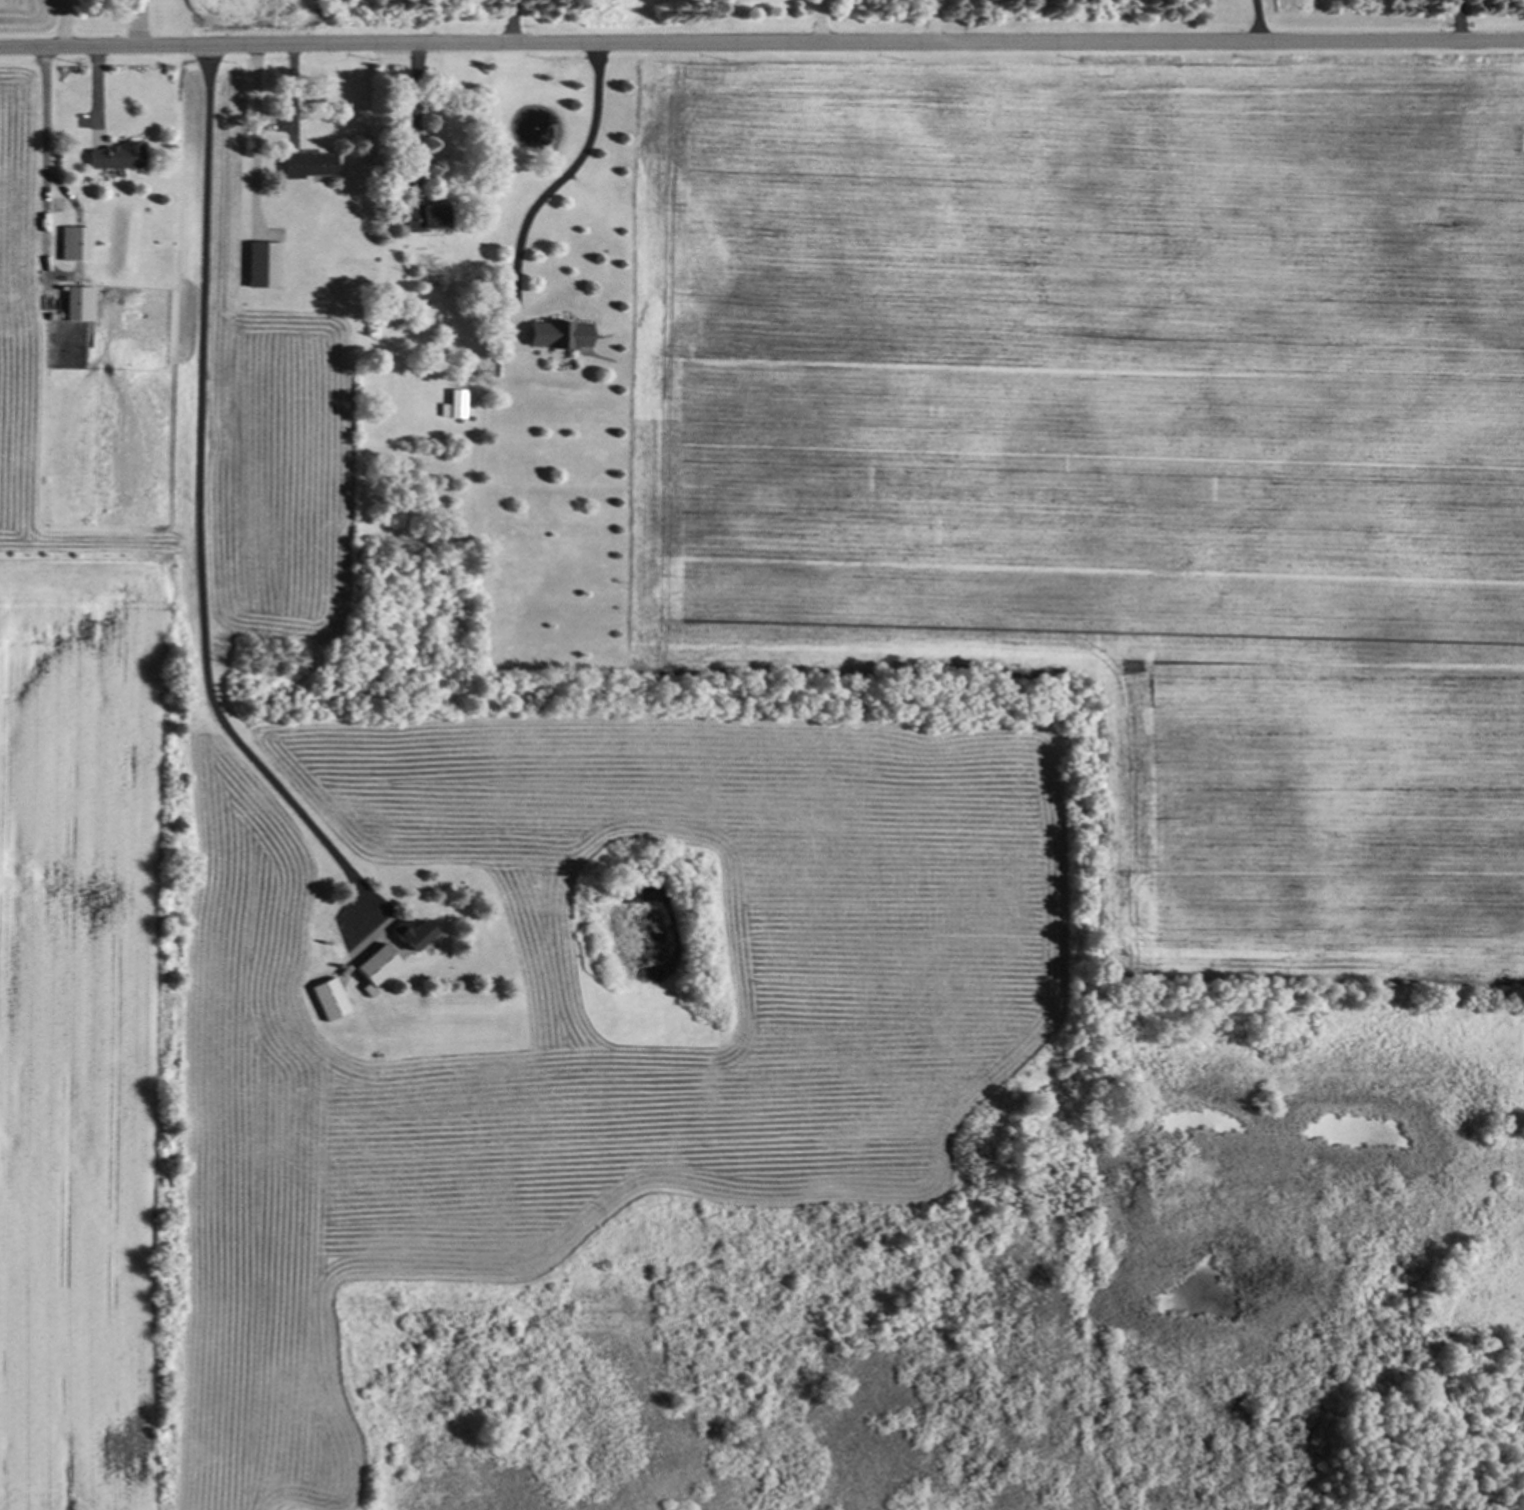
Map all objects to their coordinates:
crop: (25, 13)
crop: (263, 13)
road: (1458, 18)
road: (1256, 19)
road: (932, 20)
road: (819, 21)
road: (514, 22)
road: (761, 43)
road: (289, 102)
road: (415, 119)
road: (253, 135)
road: (44, 149)
building: (115, 156)
building: (308, 163)
road: (565, 177)
building: (426, 217)
building: (73, 243)
building: (264, 264)
building: (78, 303)
building: (557, 334)
building: (453, 404)
crop: (1122, 456)
road: (198, 498)
crop: (414, 949)
building: (375, 965)
building: (328, 998)

